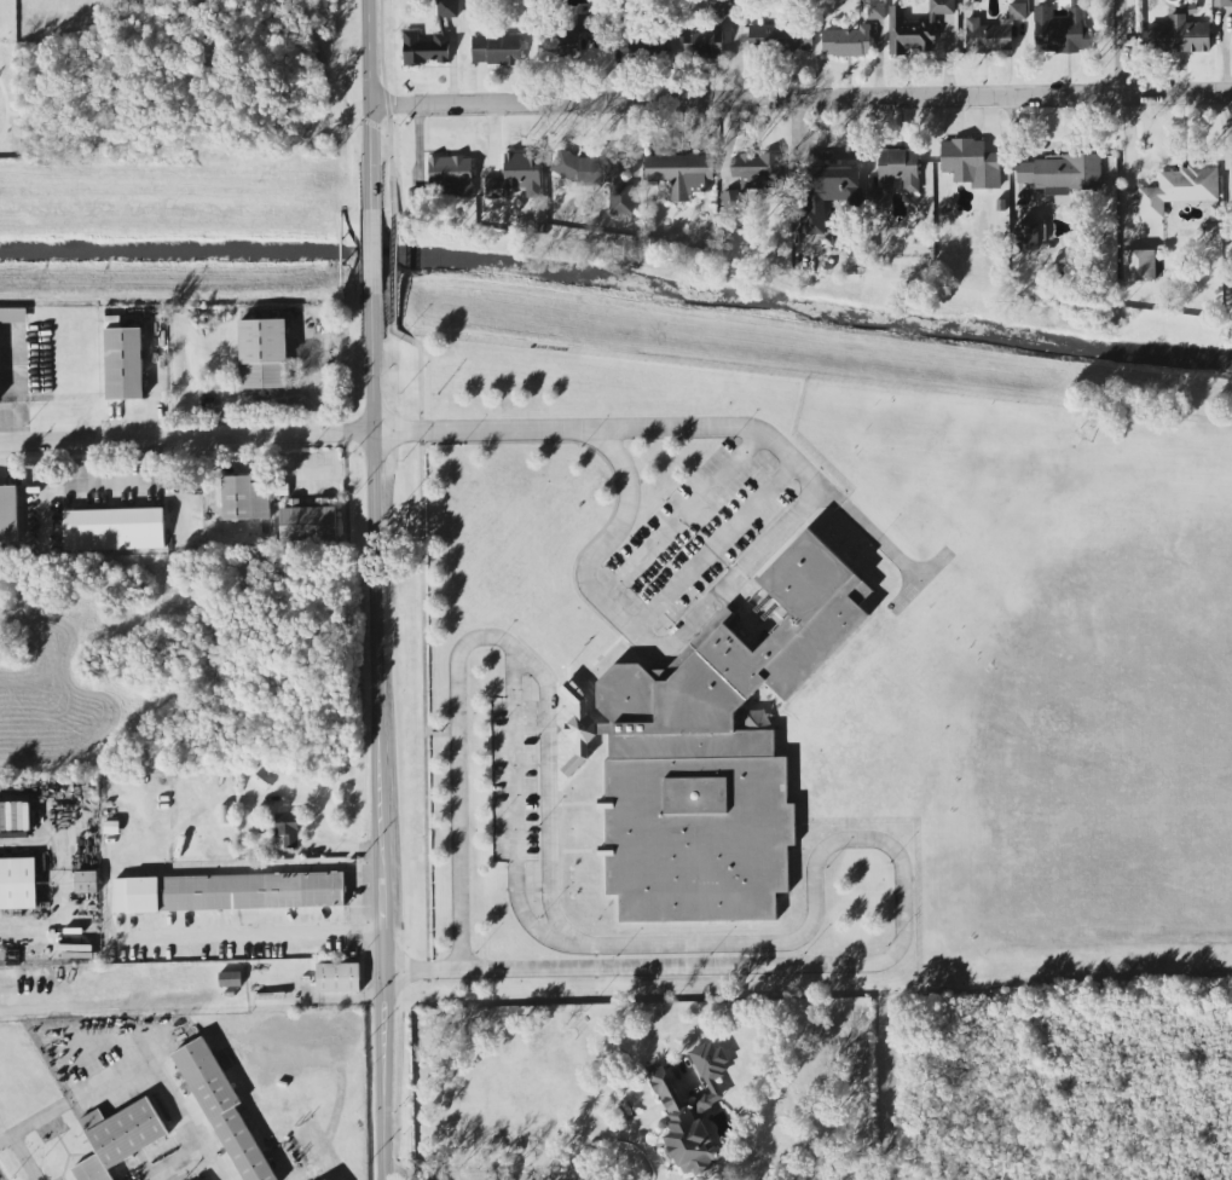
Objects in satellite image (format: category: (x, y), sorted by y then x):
building: (1222, 4)
building: (447, 8)
building: (722, 8)
building: (877, 11)
building: (1018, 11)
building: (915, 28)
building: (1060, 31)
building: (781, 36)
building: (988, 36)
building: (1179, 36)
building: (848, 41)
building: (702, 45)
building: (652, 46)
building: (428, 47)
road: (1121, 47)
building: (496, 50)
road: (802, 98)
road: (371, 104)
road: (5, 108)
road: (349, 116)
road: (233, 152)
building: (971, 163)
building: (452, 173)
building: (681, 173)
building: (1058, 173)
building: (517, 175)
building: (597, 175)
building: (752, 177)
building: (895, 177)
building: (1178, 190)
building: (827, 192)
building: (1026, 237)
road: (371, 251)
building: (1144, 265)
building: (12, 317)
building: (259, 353)
building: (120, 364)
road: (267, 395)
road: (676, 429)
road: (186, 438)
building: (242, 499)
building: (6, 515)
road: (686, 517)
building: (306, 524)
building: (110, 530)
parking lot: (699, 534)
road: (715, 545)
road: (921, 579)
road: (634, 629)
road: (381, 736)
building: (724, 753)
parking lot: (515, 782)
building: (18, 816)
road: (515, 821)
building: (283, 831)
road: (54, 880)
building: (87, 881)
building: (18, 884)
building: (231, 892)
road: (255, 933)
road: (695, 944)
road: (424, 972)
building: (339, 978)
building: (230, 979)
road: (161, 1071)
building: (692, 1110)
building: (225, 1112)
road: (29, 1124)
road: (605, 1136)
building: (120, 1138)
road: (648, 1150)
road: (18, 1158)
road: (469, 1173)

